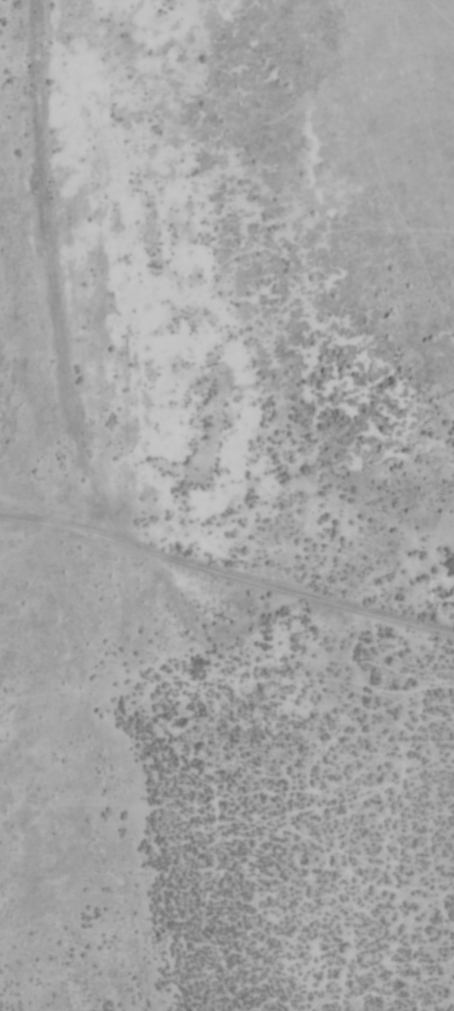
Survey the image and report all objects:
road: (225, 574)

